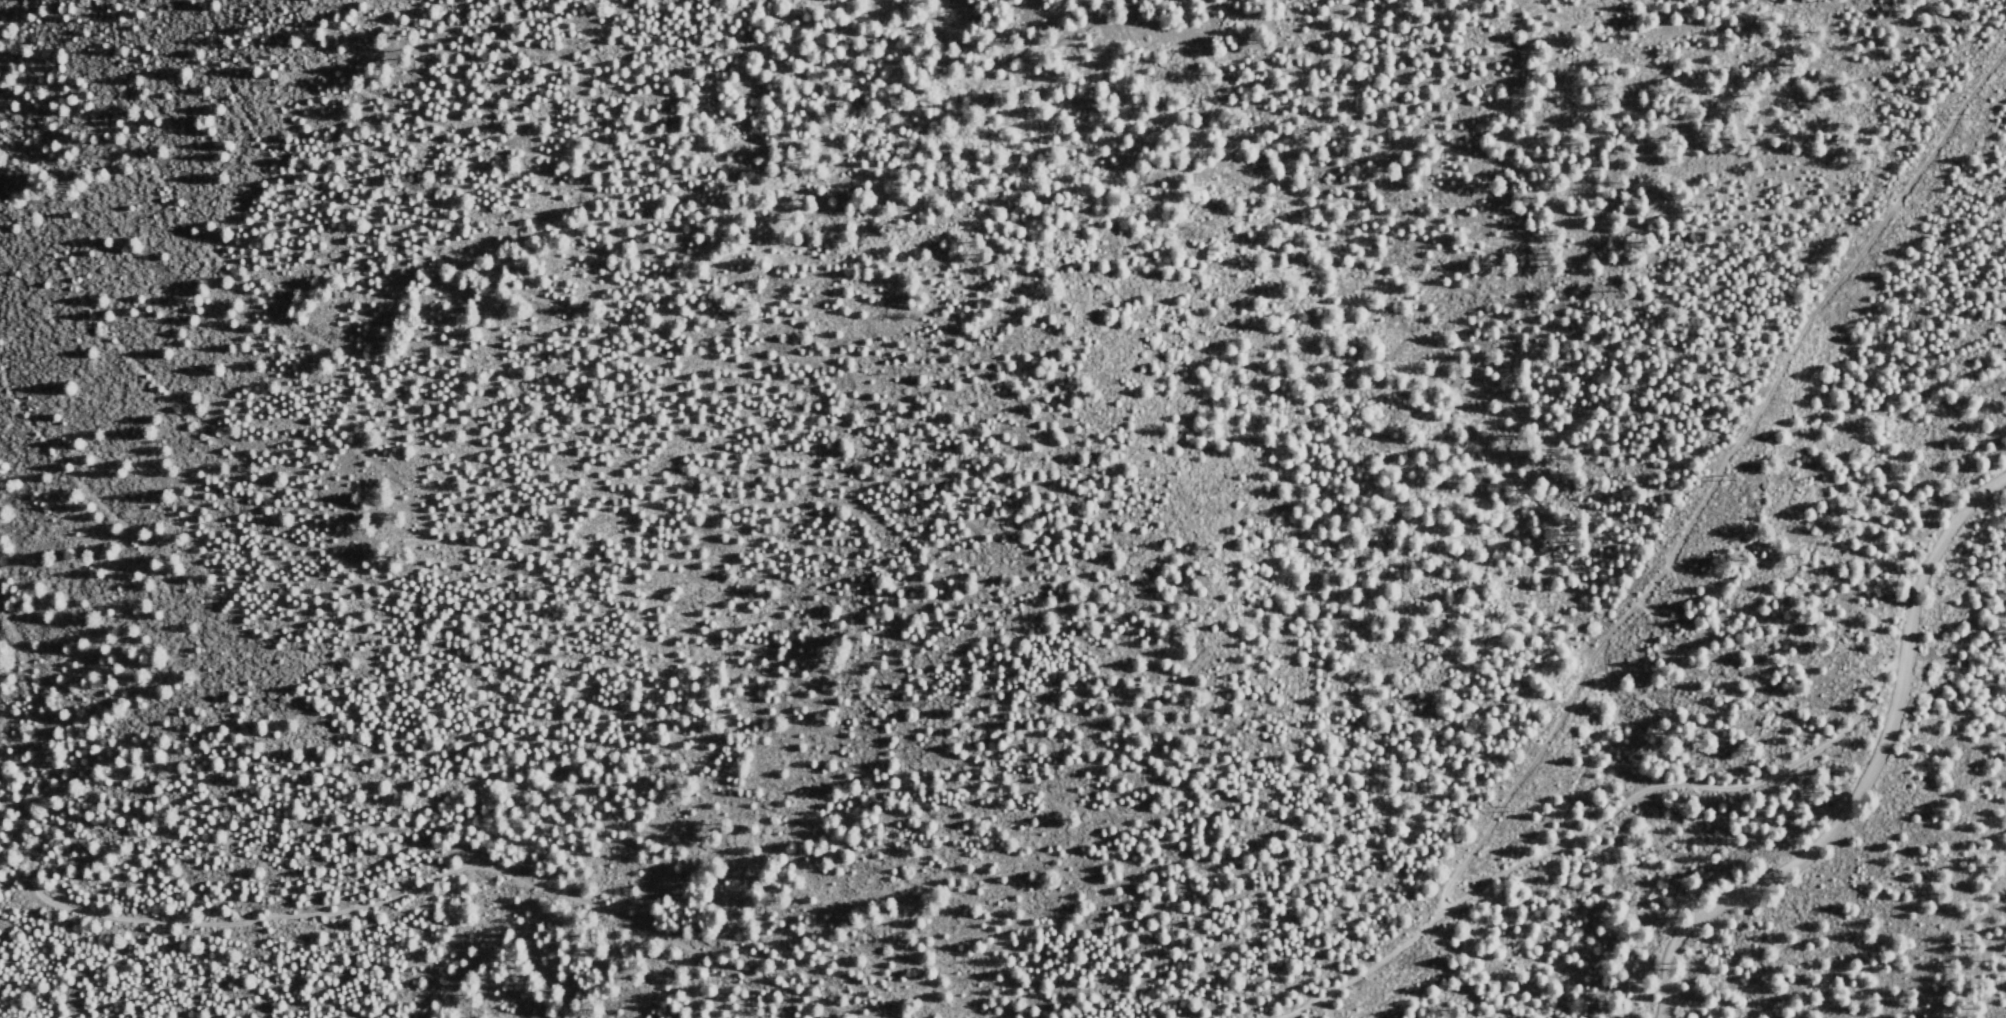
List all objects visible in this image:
power tower: (1961, 116)
road: (1711, 461)
power tower: (1725, 479)
road: (1870, 773)
road: (1686, 781)
power tower: (1505, 807)
road: (322, 911)
road: (1387, 956)
road: (1321, 1008)
road: (1305, 1009)

